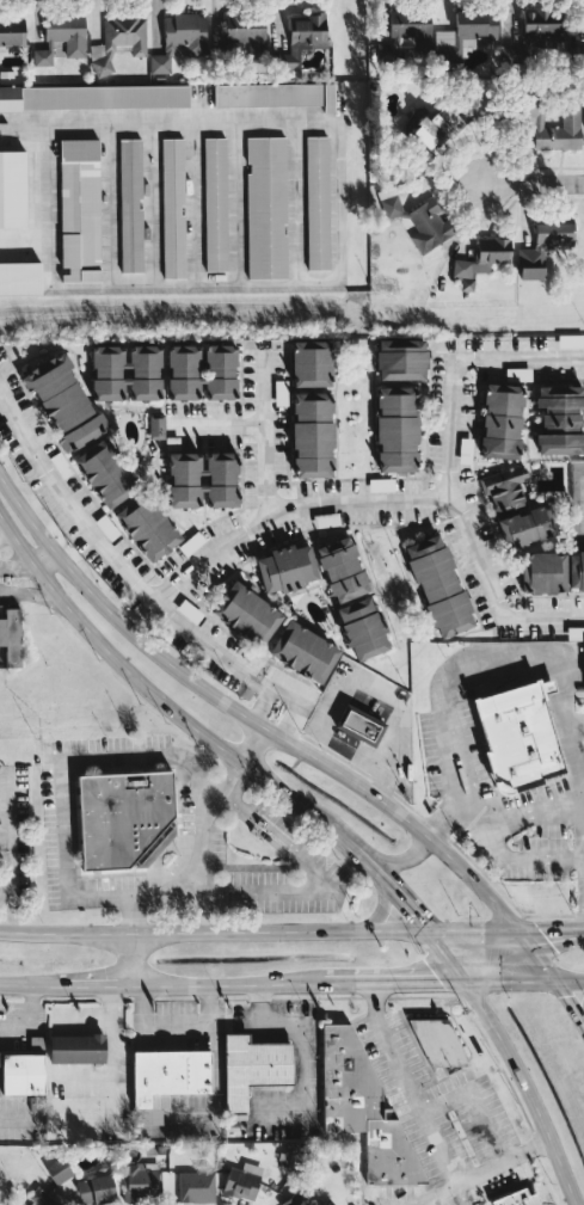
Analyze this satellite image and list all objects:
building: (12, 31)
building: (406, 32)
building: (465, 32)
building: (247, 33)
building: (534, 35)
building: (62, 37)
building: (305, 38)
building: (179, 39)
building: (118, 42)
building: (275, 94)
building: (94, 97)
road: (24, 122)
building: (436, 127)
building: (554, 127)
road: (531, 180)
building: (12, 189)
building: (318, 202)
building: (215, 203)
building: (130, 204)
building: (173, 208)
building: (266, 208)
building: (80, 210)
building: (420, 223)
building: (543, 247)
building: (481, 259)
road: (333, 277)
building: (20, 278)
building: (401, 359)
building: (312, 363)
building: (125, 371)
building: (202, 371)
building: (63, 402)
building: (560, 419)
building: (502, 420)
road: (214, 424)
building: (156, 425)
building: (396, 429)
road: (264, 435)
building: (313, 435)
road: (448, 469)
building: (105, 473)
building: (203, 479)
building: (516, 509)
road: (287, 512)
building: (147, 527)
road: (6, 536)
road: (106, 554)
road: (45, 558)
road: (17, 565)
building: (287, 568)
building: (342, 568)
building: (576, 570)
building: (543, 572)
building: (439, 585)
road: (27, 592)
building: (247, 613)
building: (362, 627)
building: (11, 635)
building: (305, 651)
road: (265, 686)
road: (284, 697)
road: (164, 705)
road: (262, 708)
road: (441, 711)
road: (246, 715)
road: (574, 720)
road: (284, 724)
road: (565, 724)
building: (359, 725)
building: (518, 736)
road: (253, 745)
road: (580, 767)
road: (60, 776)
road: (535, 813)
building: (124, 818)
road: (443, 822)
road: (2, 831)
road: (197, 855)
road: (400, 859)
road: (524, 859)
road: (395, 893)
road: (6, 908)
road: (380, 909)
traffic signals: (413, 915)
road: (551, 929)
road: (213, 930)
road: (473, 930)
traffic signals: (543, 930)
road: (536, 955)
road: (130, 957)
road: (447, 957)
road: (32, 982)
road: (396, 982)
traffic signals: (441, 982)
road: (510, 982)
road: (568, 982)
road: (98, 983)
road: (229, 983)
traffic signals: (561, 994)
road: (567, 1003)
road: (583, 1014)
road: (174, 1025)
road: (583, 1026)
road: (301, 1028)
building: (438, 1043)
building: (76, 1049)
building: (253, 1066)
building: (23, 1074)
building: (166, 1080)
road: (410, 1083)
road: (524, 1090)
road: (474, 1103)
building: (363, 1108)
road: (480, 1172)
building: (62, 1179)
building: (242, 1180)
building: (141, 1182)
building: (196, 1186)
building: (97, 1187)
building: (41, 1198)
building: (516, 1198)
building: (293, 1200)

